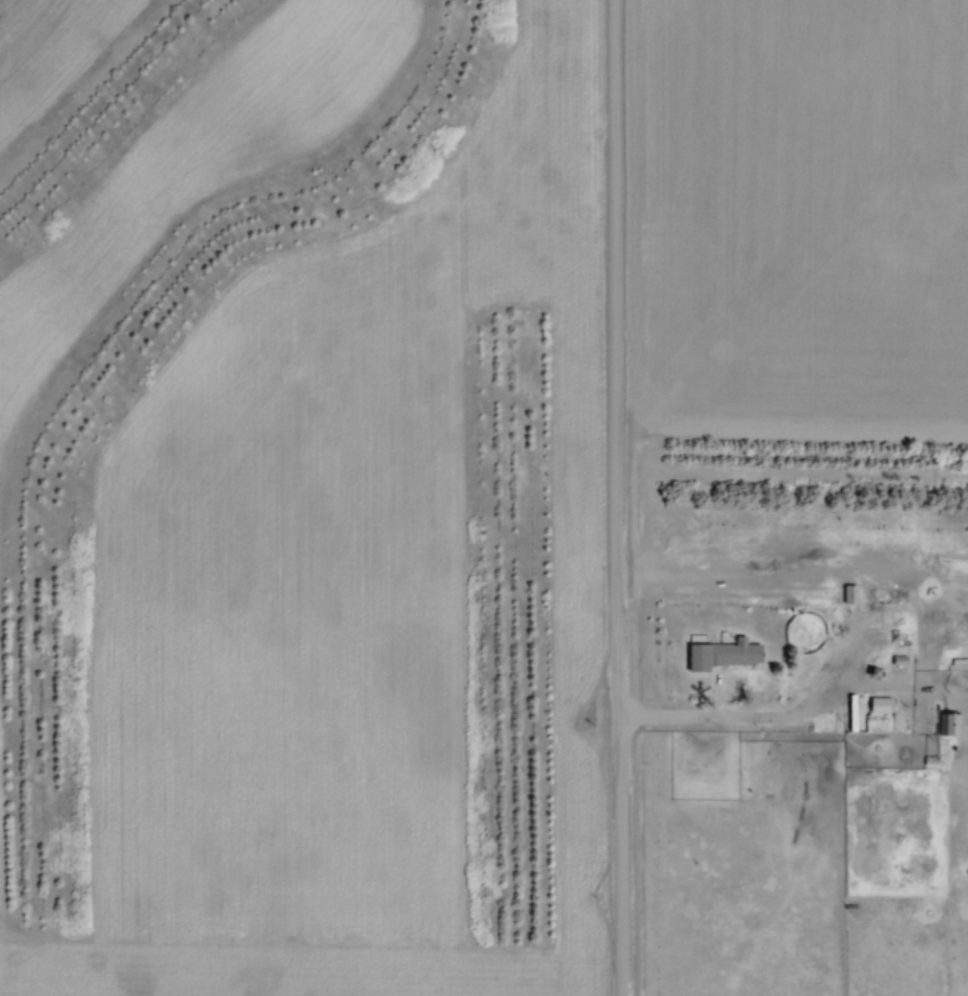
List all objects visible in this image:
crop: (796, 217)
road: (617, 498)
building: (850, 591)
building: (724, 651)
building: (899, 656)
building: (882, 702)
road: (797, 711)
building: (952, 721)
building: (931, 757)

